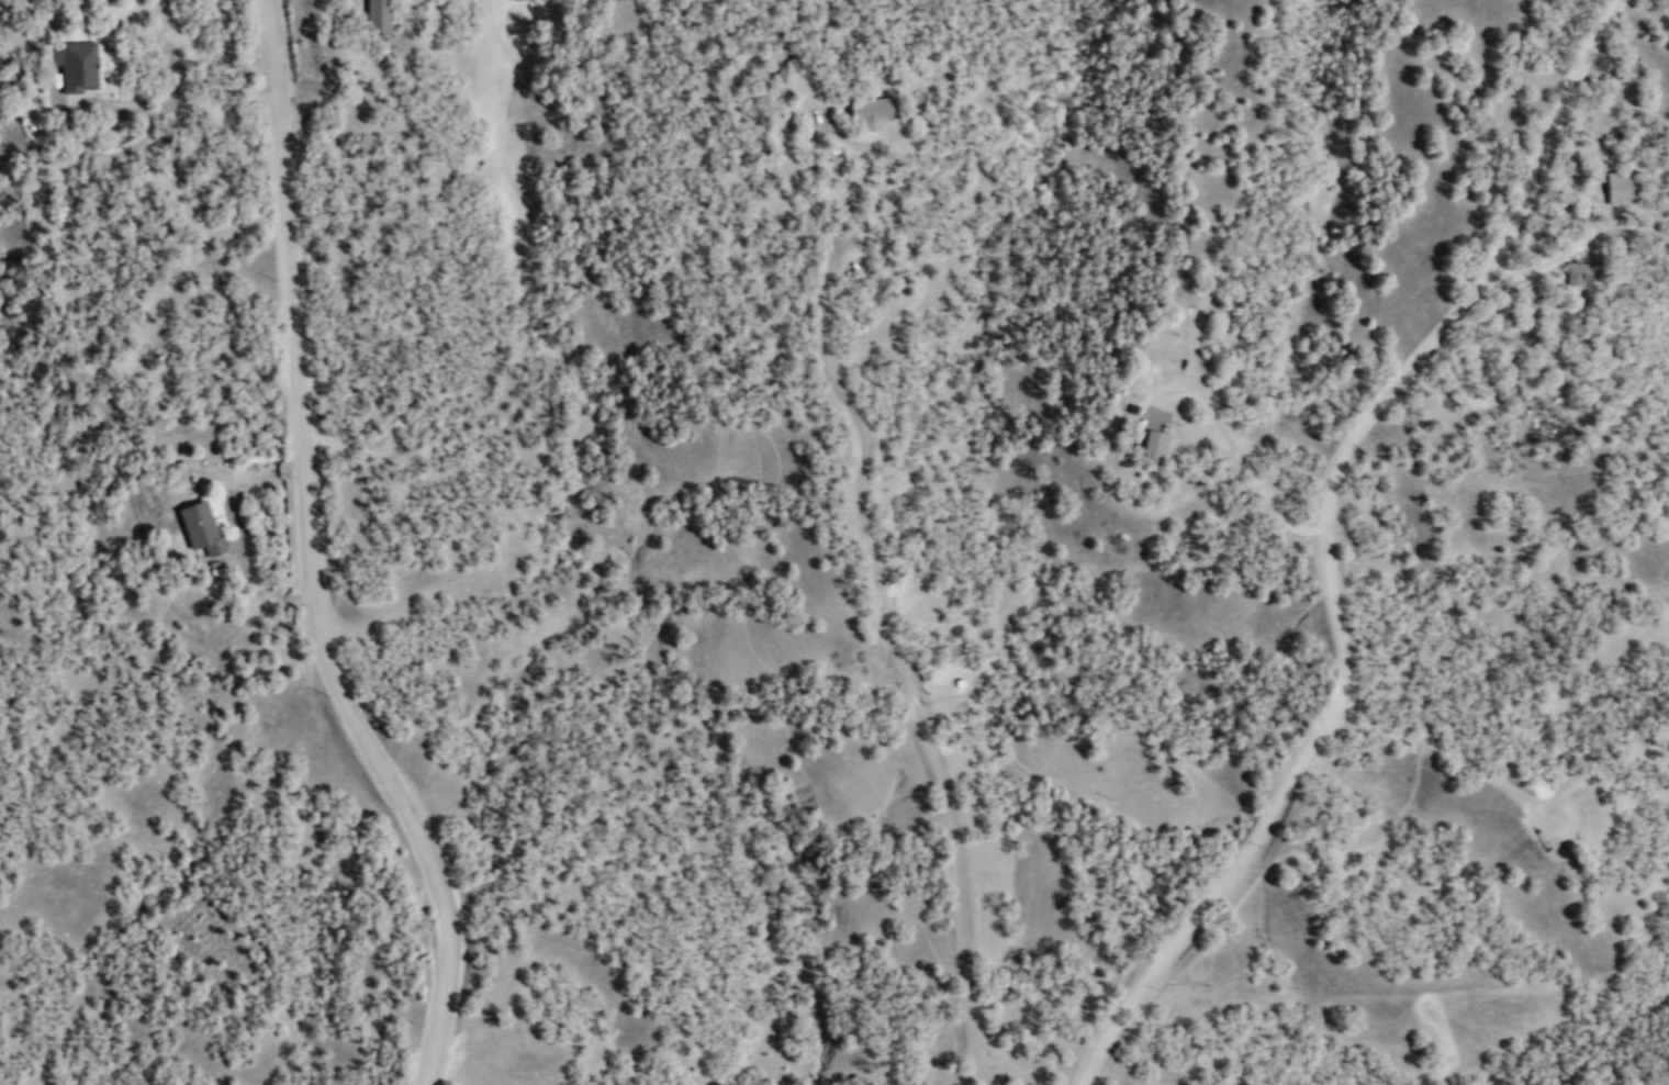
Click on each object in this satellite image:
building: (379, 16)
building: (79, 67)
building: (874, 113)
building: (1623, 188)
building: (63, 213)
building: (1582, 273)
building: (1156, 444)
building: (201, 527)
road: (1333, 540)
road: (321, 556)

